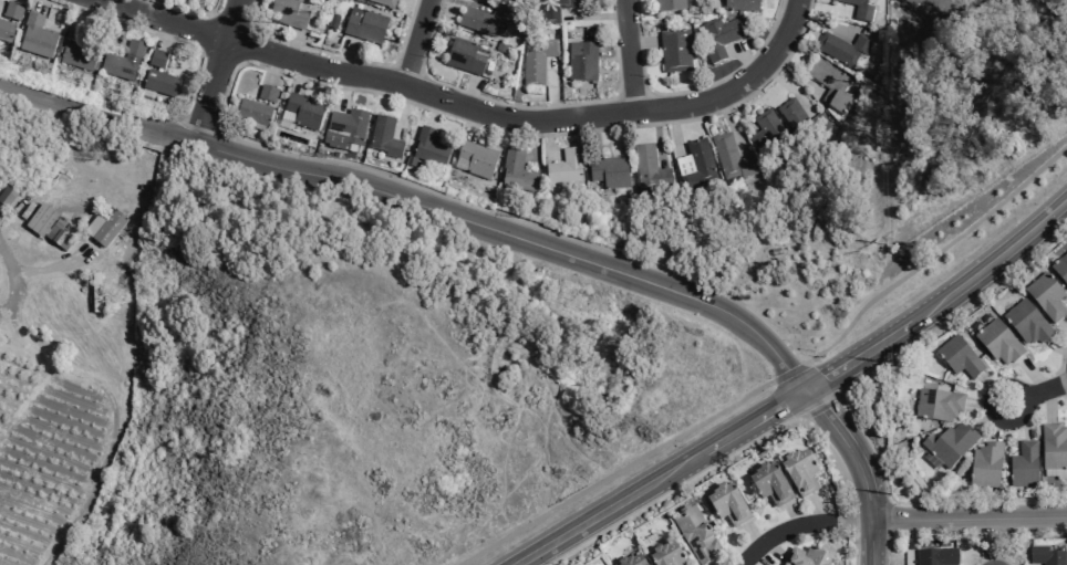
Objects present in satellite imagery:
building: (384, 2)
road: (468, 3)
road: (39, 4)
road: (128, 4)
building: (670, 4)
building: (740, 6)
road: (821, 8)
building: (859, 9)
road: (190, 10)
building: (556, 10)
building: (12, 11)
building: (288, 13)
road: (594, 15)
road: (75, 18)
building: (484, 19)
road: (819, 22)
road: (251, 23)
road: (122, 25)
building: (364, 27)
building: (6, 31)
road: (164, 33)
road: (157, 35)
building: (37, 36)
building: (719, 39)
road: (416, 42)
road: (642, 42)
road: (292, 44)
road: (614, 49)
building: (843, 50)
building: (675, 51)
road: (345, 55)
road: (629, 55)
building: (80, 57)
road: (339, 57)
building: (464, 57)
road: (744, 57)
building: (157, 59)
building: (123, 61)
building: (536, 62)
building: (582, 62)
road: (408, 65)
road: (274, 70)
road: (215, 71)
road: (797, 72)
power tower: (883, 74)
road: (364, 75)
road: (299, 76)
building: (160, 83)
building: (831, 85)
road: (737, 86)
road: (787, 86)
road: (343, 90)
road: (551, 90)
road: (691, 90)
road: (470, 93)
road: (227, 94)
building: (267, 94)
road: (625, 95)
road: (526, 106)
building: (304, 111)
road: (403, 111)
road: (434, 112)
road: (96, 113)
building: (253, 113)
building: (286, 119)
building: (801, 121)
road: (163, 124)
road: (474, 125)
building: (344, 129)
road: (674, 129)
road: (734, 129)
building: (767, 134)
road: (594, 135)
road: (657, 136)
building: (384, 137)
road: (547, 138)
road: (231, 146)
building: (429, 147)
building: (732, 156)
building: (475, 159)
building: (695, 164)
building: (564, 166)
building: (650, 167)
building: (516, 170)
building: (609, 170)
building: (7, 197)
building: (41, 221)
building: (108, 229)
road: (515, 240)
power tower: (882, 244)
road: (934, 253)
building: (1060, 269)
building: (1046, 297)
road: (941, 302)
building: (1026, 323)
road: (1064, 325)
building: (998, 343)
road: (1056, 346)
road: (1061, 353)
building: (959, 358)
power tower: (885, 364)
road: (789, 373)
road: (1032, 375)
road: (821, 379)
road: (1063, 380)
road: (994, 391)
road: (1036, 393)
road: (1065, 396)
road: (788, 398)
road: (841, 400)
road: (985, 405)
road: (1049, 405)
road: (820, 406)
building: (937, 406)
road: (990, 415)
road: (1019, 418)
road: (998, 421)
building: (949, 446)
road: (744, 447)
building: (1054, 448)
road: (850, 450)
crop: (45, 453)
building: (985, 465)
building: (1024, 465)
road: (615, 473)
building: (799, 473)
road: (661, 478)
building: (769, 485)
power tower: (889, 494)
building: (727, 505)
road: (816, 510)
road: (794, 515)
road: (968, 519)
road: (861, 521)
road: (890, 521)
road: (845, 522)
road: (783, 531)
building: (695, 535)
road: (753, 535)
road: (976, 537)
road: (871, 543)
road: (993, 545)
road: (773, 550)
road: (992, 553)
building: (666, 556)
building: (1045, 556)
building: (806, 557)
building: (936, 557)
building: (631, 562)
road: (712, 564)

